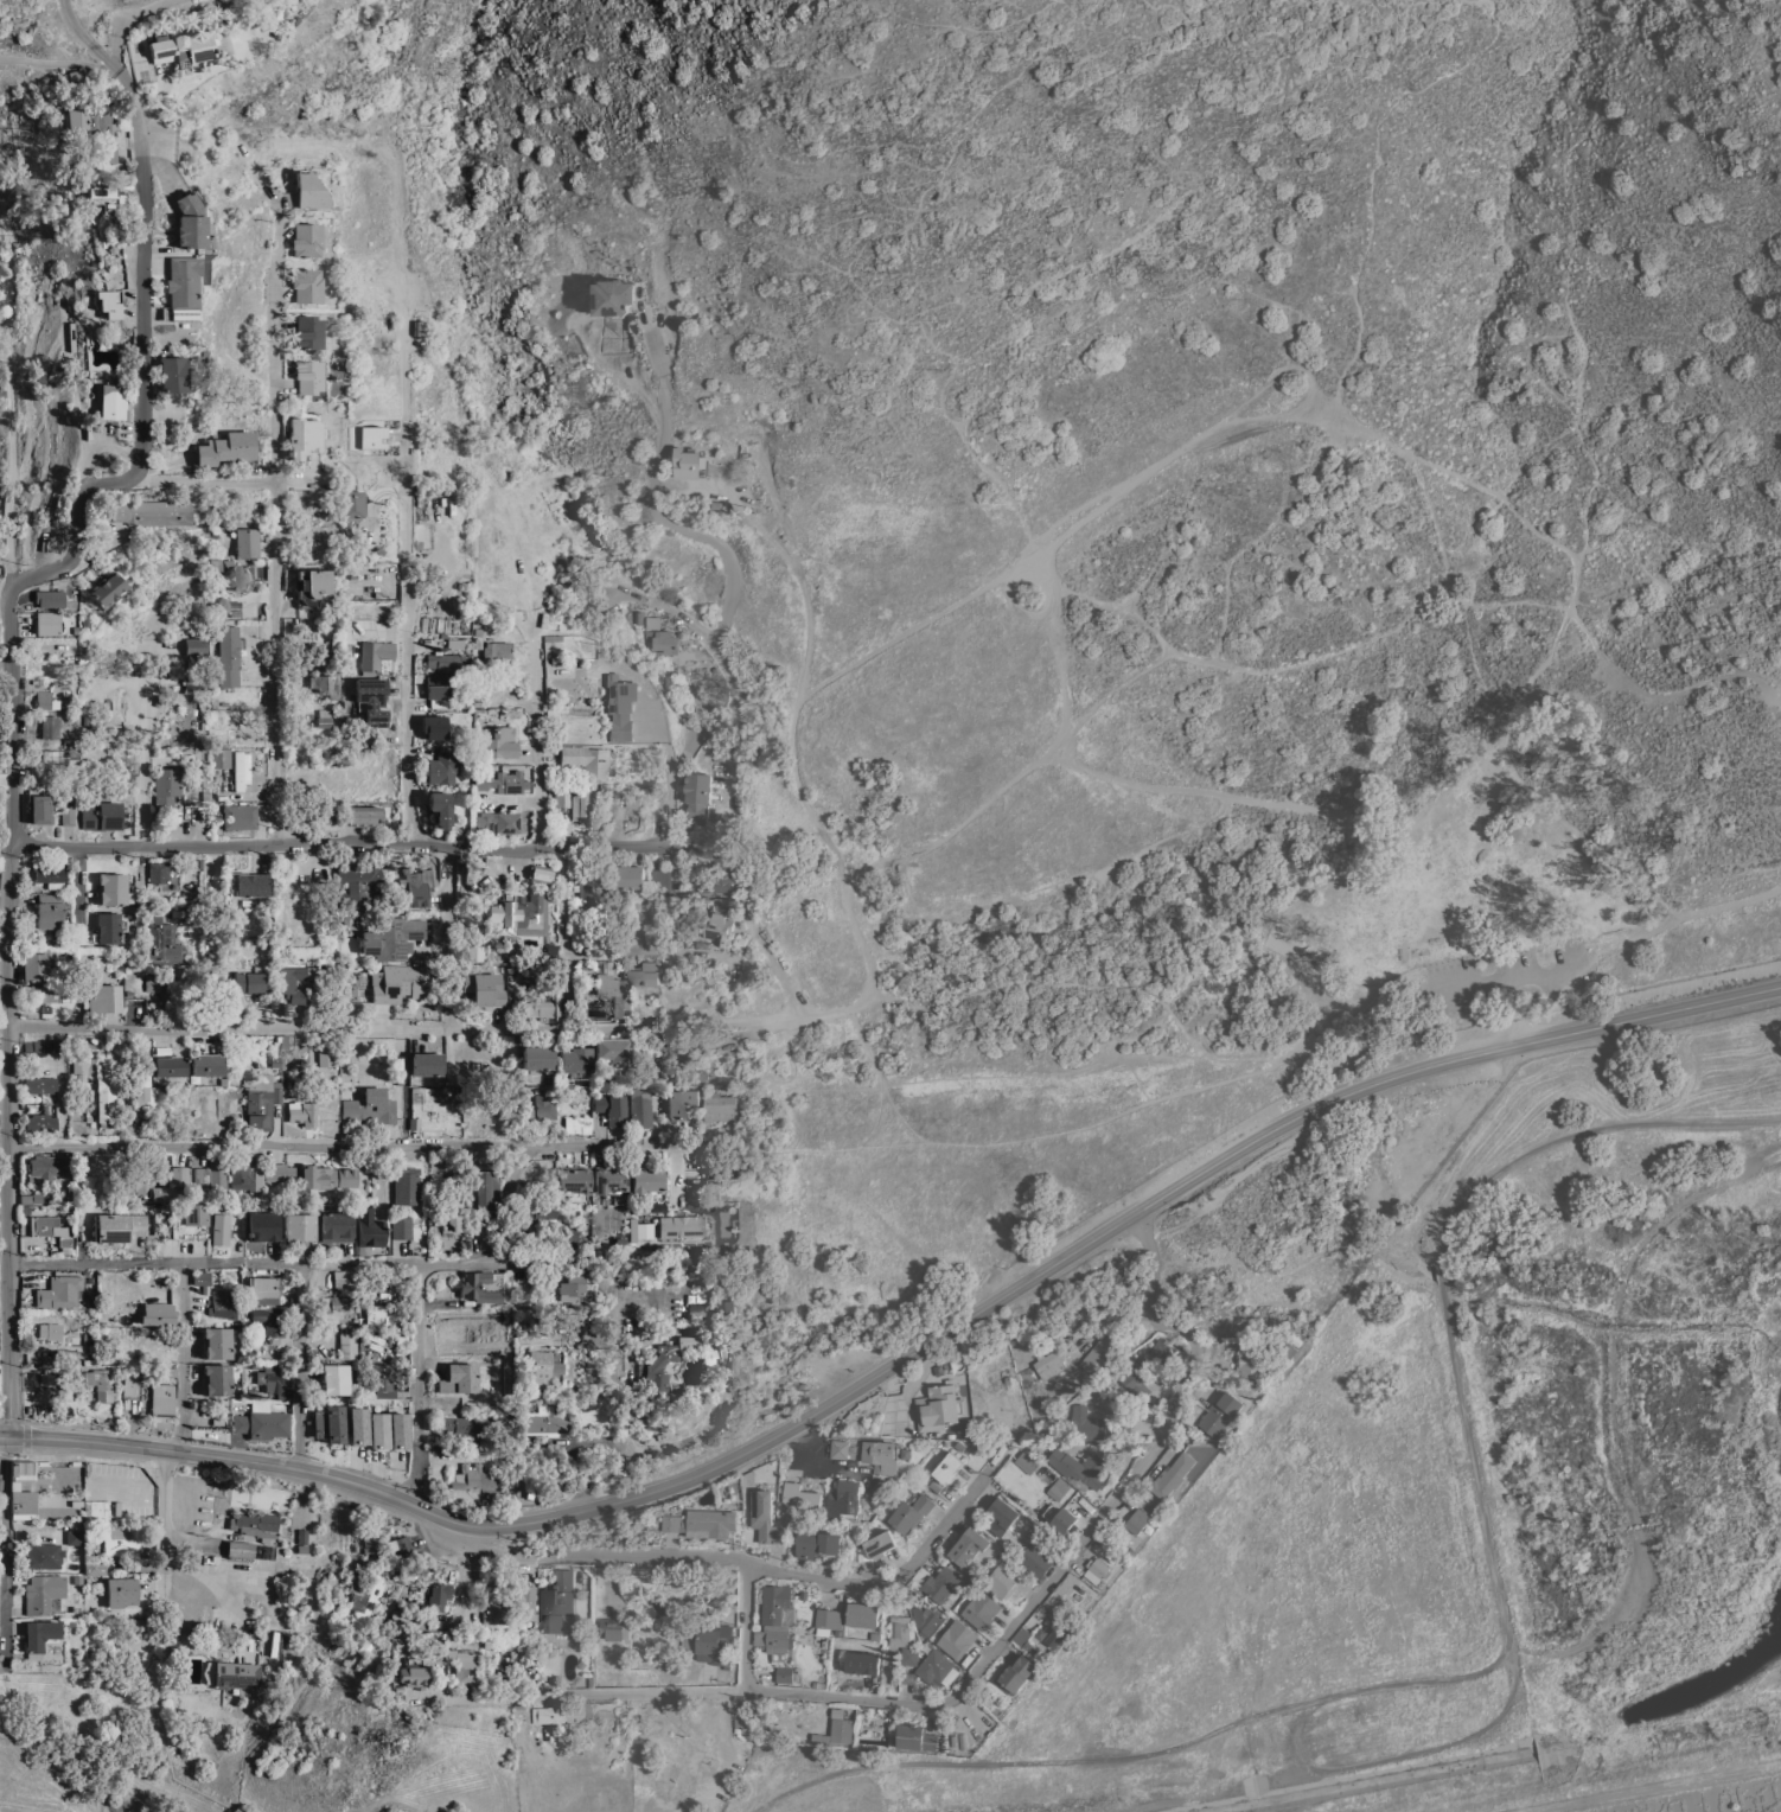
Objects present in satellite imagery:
road: (126, 19)
road: (84, 38)
building: (181, 47)
road: (59, 64)
building: (76, 119)
building: (103, 122)
park: (1066, 180)
building: (306, 190)
building: (104, 198)
park: (1622, 206)
building: (189, 219)
building: (304, 240)
road: (141, 267)
building: (304, 285)
building: (181, 287)
building: (611, 296)
building: (108, 305)
road: (274, 315)
building: (306, 331)
building: (171, 374)
building: (306, 376)
road: (13, 397)
building: (111, 401)
building: (301, 436)
building: (371, 436)
building: (224, 447)
building: (685, 464)
road: (206, 473)
road: (652, 490)
building: (350, 503)
building: (149, 511)
road: (77, 527)
building: (245, 542)
building: (234, 576)
road: (408, 583)
building: (312, 585)
building: (104, 588)
building: (47, 598)
building: (45, 623)
building: (657, 637)
building: (194, 645)
building: (494, 650)
building: (375, 656)
road: (277, 661)
building: (443, 661)
building: (234, 668)
building: (436, 685)
building: (43, 698)
building: (371, 698)
building: (618, 706)
road: (13, 716)
building: (324, 717)
building: (49, 726)
building: (433, 726)
building: (498, 741)
road: (694, 741)
road: (143, 746)
road: (538, 749)
building: (221, 758)
building: (586, 759)
park: (1207, 765)
building: (442, 767)
building: (240, 770)
road: (796, 787)
building: (165, 789)
building: (696, 796)
building: (561, 799)
building: (581, 805)
building: (38, 808)
building: (439, 808)
building: (100, 815)
building: (363, 815)
building: (65, 816)
building: (237, 816)
building: (496, 821)
road: (337, 846)
building: (478, 859)
building: (158, 870)
road: (213, 873)
building: (540, 873)
building: (50, 875)
building: (717, 875)
building: (627, 876)
building: (359, 880)
building: (658, 881)
building: (248, 883)
building: (416, 885)
building: (111, 887)
building: (595, 889)
building: (50, 908)
building: (518, 910)
building: (109, 927)
building: (716, 931)
building: (394, 937)
road: (448, 937)
building: (161, 938)
road: (564, 938)
road: (636, 951)
road: (1449, 958)
building: (36, 965)
building: (647, 975)
road: (1513, 976)
parking lot: (1498, 978)
building: (250, 981)
building: (293, 981)
building: (400, 982)
building: (161, 985)
building: (484, 988)
building: (612, 991)
building: (40, 993)
building: (104, 997)
building: (540, 1007)
road: (1509, 1010)
road: (372, 1027)
building: (676, 1044)
building: (611, 1051)
building: (326, 1057)
building: (536, 1057)
building: (574, 1061)
building: (208, 1064)
building: (426, 1064)
building: (170, 1065)
building: (78, 1070)
building: (40, 1083)
building: (141, 1089)
building: (107, 1100)
building: (258, 1100)
building: (235, 1103)
building: (681, 1103)
building: (545, 1105)
building: (209, 1106)
building: (370, 1106)
building: (640, 1106)
building: (305, 1108)
building: (427, 1108)
building: (612, 1108)
building: (717, 1108)
building: (40, 1122)
building: (577, 1123)
road: (1577, 1135)
road: (11, 1138)
road: (371, 1143)
building: (49, 1166)
building: (279, 1170)
building: (720, 1170)
building: (212, 1172)
building: (180, 1175)
building: (245, 1175)
building: (326, 1176)
building: (609, 1178)
building: (645, 1178)
building: (574, 1179)
building: (151, 1180)
building: (407, 1185)
building: (481, 1191)
road: (1164, 1193)
building: (34, 1197)
building: (534, 1212)
building: (196, 1213)
building: (44, 1225)
building: (683, 1225)
building: (119, 1226)
building: (263, 1226)
building: (299, 1226)
building: (336, 1226)
building: (369, 1227)
building: (402, 1227)
building: (435, 1227)
building: (221, 1229)
building: (645, 1230)
building: (569, 1234)
road: (608, 1259)
road: (248, 1262)
road: (1438, 1276)
building: (200, 1277)
building: (344, 1277)
building: (477, 1287)
building: (570, 1287)
building: (263, 1289)
building: (59, 1290)
building: (225, 1302)
building: (333, 1308)
building: (692, 1310)
building: (726, 1312)
building: (159, 1313)
building: (379, 1313)
building: (270, 1321)
building: (435, 1321)
building: (50, 1329)
building: (218, 1340)
building: (347, 1342)
building: (88, 1344)
building: (1160, 1350)
building: (709, 1353)
building: (1098, 1354)
building: (663, 1360)
building: (543, 1363)
building: (1048, 1363)
road: (300, 1364)
building: (1251, 1364)
building: (379, 1377)
building: (1137, 1377)
building: (45, 1378)
building: (218, 1378)
building: (336, 1378)
building: (457, 1378)
building: (272, 1380)
road: (419, 1382)
building: (96, 1383)
building: (129, 1384)
building: (162, 1398)
building: (1106, 1404)
road: (1610, 1406)
building: (938, 1408)
building: (1220, 1415)
building: (544, 1421)
road: (183, 1422)
building: (263, 1423)
building: (330, 1423)
road: (25, 1424)
building: (1084, 1424)
building: (358, 1425)
building: (464, 1428)
building: (378, 1430)
building: (400, 1430)
traffic signals: (8, 1434)
building: (844, 1449)
road: (6, 1454)
road: (19, 1455)
building: (881, 1455)
building: (1026, 1462)
road: (300, 1466)
building: (947, 1467)
building: (1079, 1467)
building: (23, 1468)
building: (1172, 1475)
building: (475, 1476)
building: (1058, 1488)
building: (510, 1489)
building: (876, 1494)
building: (800, 1499)
building: (844, 1499)
building: (23, 1500)
building: (909, 1513)
building: (1000, 1516)
building: (766, 1518)
building: (1062, 1520)
building: (1137, 1520)
building: (257, 1523)
building: (671, 1523)
building: (710, 1523)
building: (75, 1536)
building: (121, 1538)
building: (400, 1543)
building: (817, 1544)
building: (879, 1544)
building: (968, 1546)
building: (240, 1548)
road: (6, 1552)
building: (44, 1555)
building: (1034, 1559)
road: (745, 1561)
road: (465, 1564)
building: (95, 1567)
building: (1094, 1569)
building: (1002, 1581)
building: (940, 1583)
building: (121, 1590)
building: (43, 1593)
building: (439, 1595)
building: (364, 1599)
building: (525, 1601)
building: (556, 1603)
building: (979, 1609)
building: (494, 1612)
building: (862, 1615)
building: (401, 1619)
building: (828, 1620)
building: (925, 1620)
building: (775, 1621)
building: (612, 1627)
road: (746, 1627)
building: (899, 1629)
building: (1053, 1631)
building: (40, 1636)
building: (956, 1639)
building: (710, 1644)
building: (1030, 1652)
building: (908, 1655)
building: (862, 1663)
building: (464, 1664)
building: (936, 1667)
road: (977, 1671)
building: (235, 1674)
building: (411, 1674)
building: (784, 1674)
building: (1014, 1674)
road: (2, 1677)
road: (1313, 1699)
building: (561, 1714)
building: (747, 1718)
building: (841, 1730)
building: (185, 1738)
building: (915, 1738)
road: (1562, 1742)
building: (184, 1748)
road: (1399, 1756)
road: (1653, 1787)

